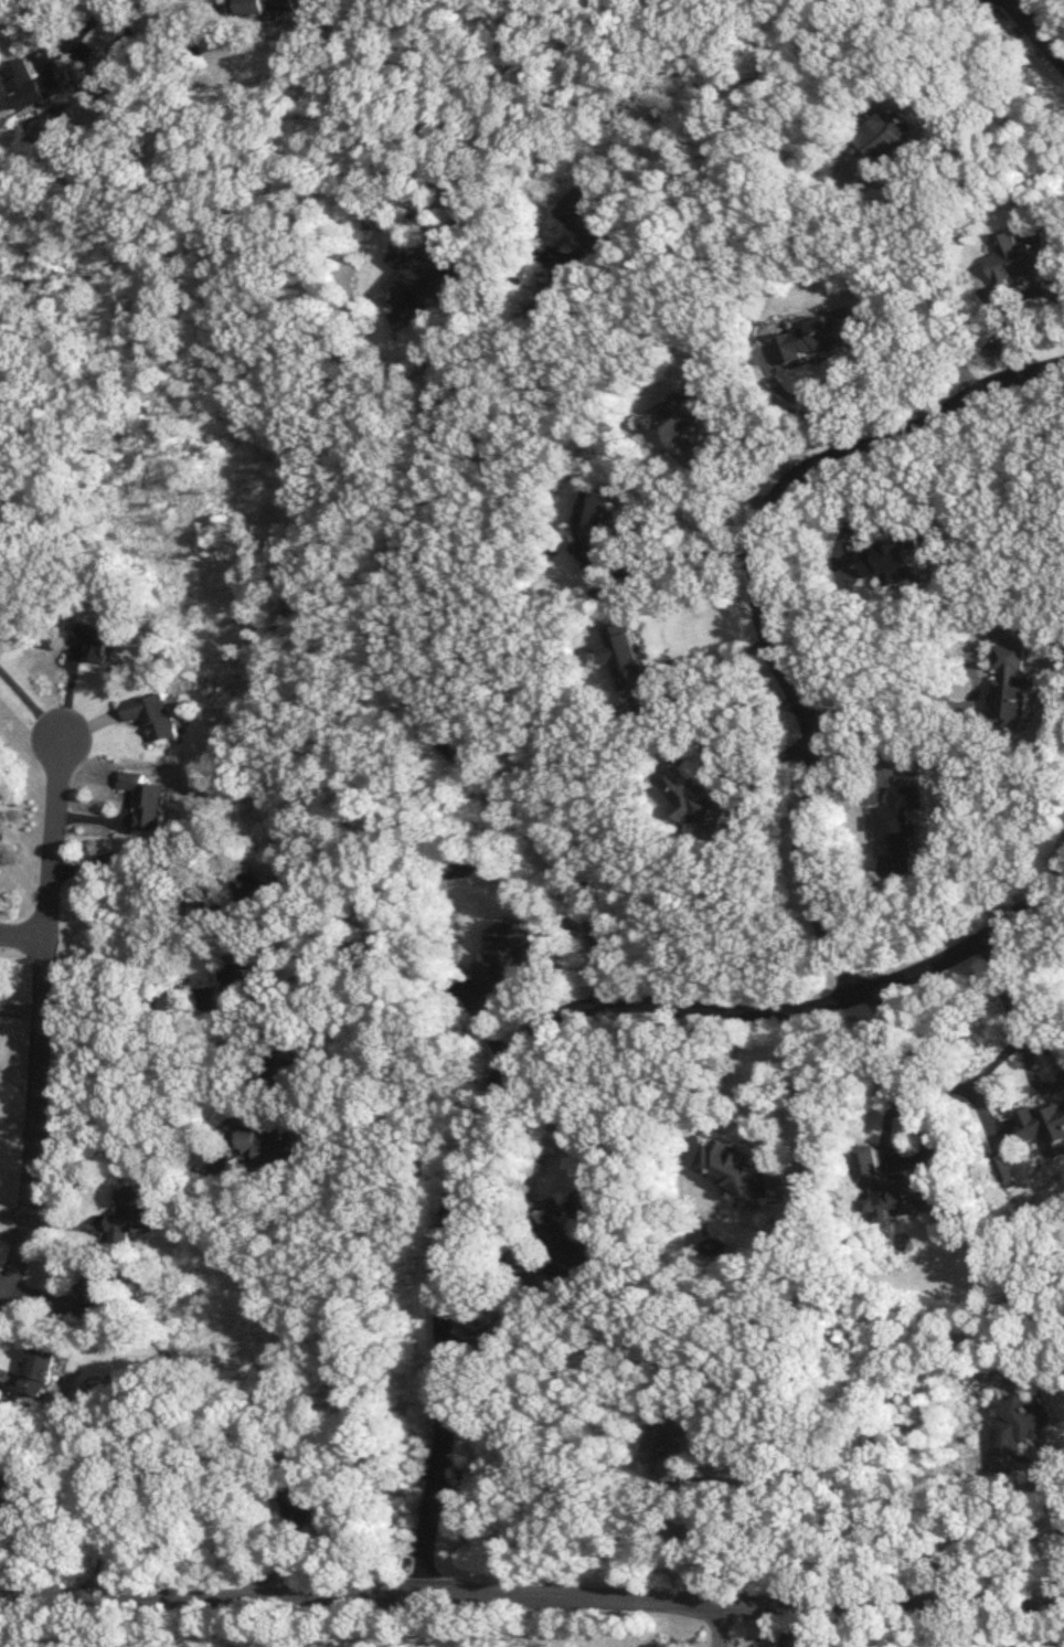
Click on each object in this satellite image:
building: (264, 8)
road: (86, 20)
road: (1036, 33)
building: (32, 85)
building: (890, 141)
building: (586, 215)
road: (900, 234)
building: (1024, 257)
building: (419, 278)
building: (820, 338)
road: (498, 343)
building: (678, 419)
building: (594, 530)
road: (698, 554)
building: (894, 563)
road: (764, 597)
building: (0, 614)
building: (97, 642)
building: (627, 659)
road: (667, 665)
road: (889, 688)
building: (1014, 689)
road: (30, 705)
building: (158, 716)
road: (424, 721)
building: (689, 795)
building: (149, 801)
building: (900, 832)
road: (146, 847)
building: (256, 894)
road: (1043, 929)
road: (22, 937)
building: (511, 952)
road: (106, 976)
building: (245, 977)
road: (1000, 989)
road: (39, 1022)
road: (531, 1034)
road: (126, 1041)
road: (1045, 1046)
building: (283, 1062)
road: (1032, 1074)
road: (804, 1080)
road: (885, 1127)
building: (1045, 1129)
building: (264, 1146)
road: (157, 1157)
building: (1007, 1168)
building: (741, 1171)
building: (898, 1188)
building: (132, 1213)
road: (13, 1214)
road: (10, 1237)
building: (565, 1241)
building: (97, 1293)
road: (509, 1319)
building: (42, 1369)
building: (1021, 1431)
building: (669, 1449)
building: (304, 1503)
road: (730, 1536)
road: (1060, 1540)
road: (110, 1545)
road: (531, 1600)
road: (248, 1625)
road: (725, 1627)
building: (821, 1640)

